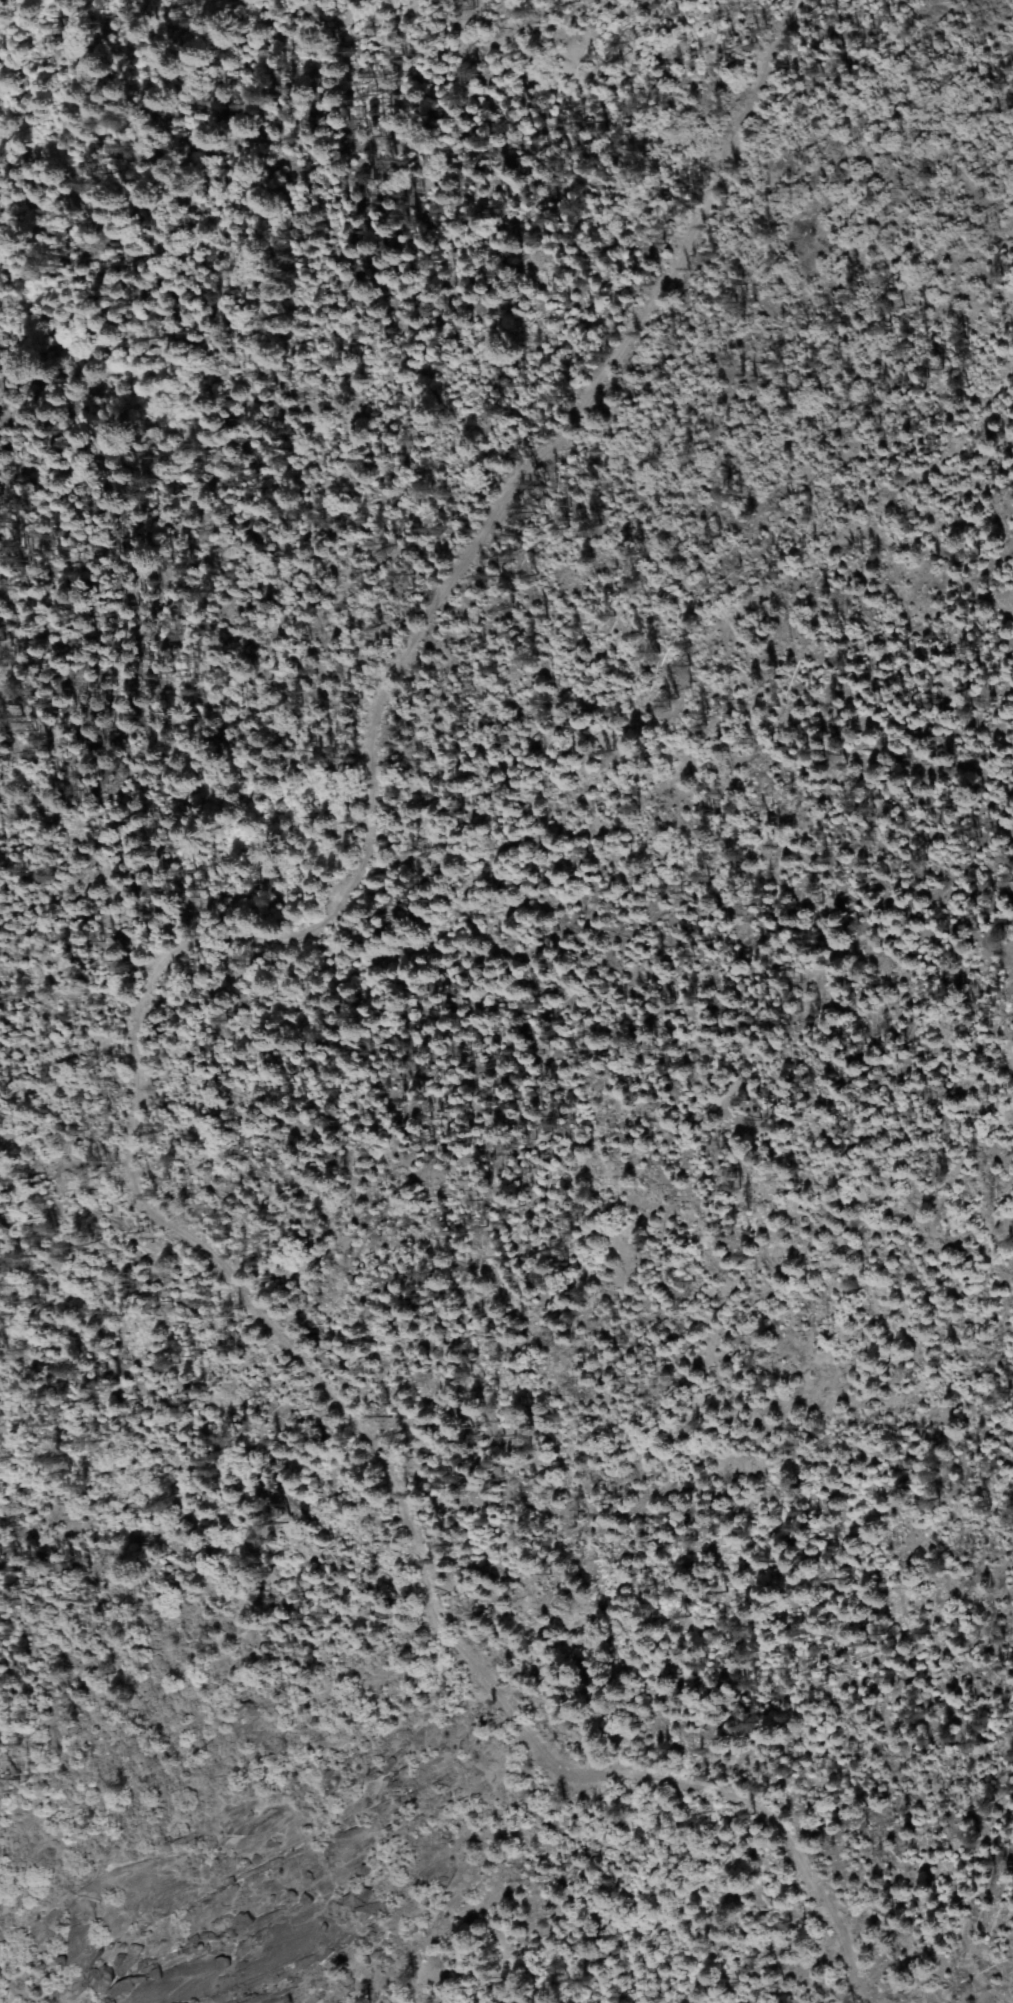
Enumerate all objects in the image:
road: (144, 1028)

